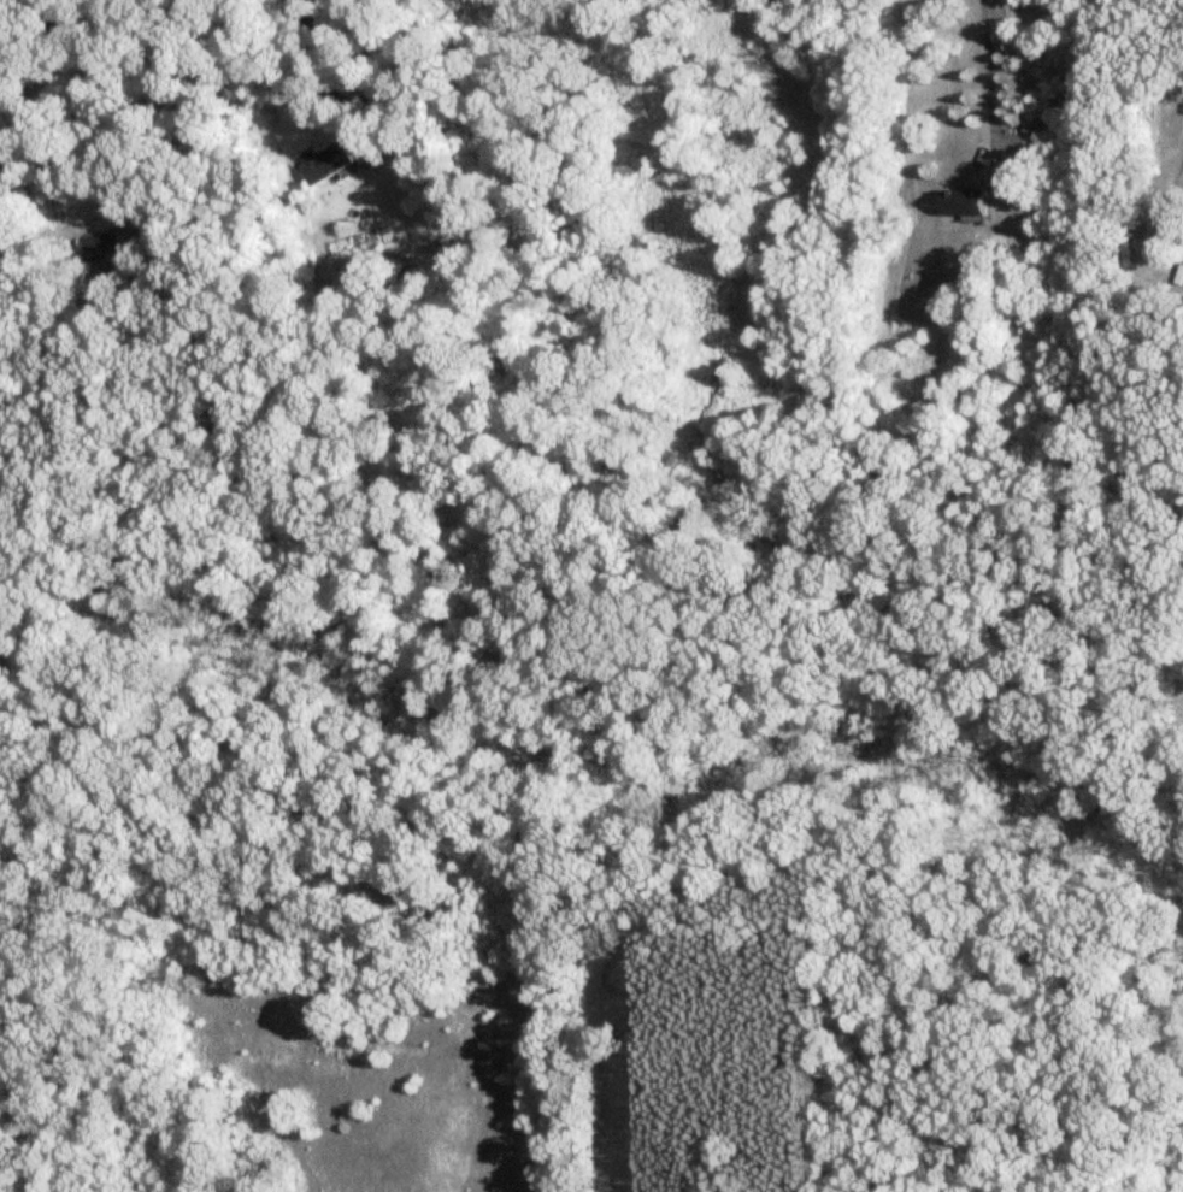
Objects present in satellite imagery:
road: (1181, 7)
road: (302, 54)
road: (990, 85)
road: (88, 98)
building: (324, 164)
building: (964, 206)
building: (151, 230)
building: (1156, 242)
building: (102, 249)

